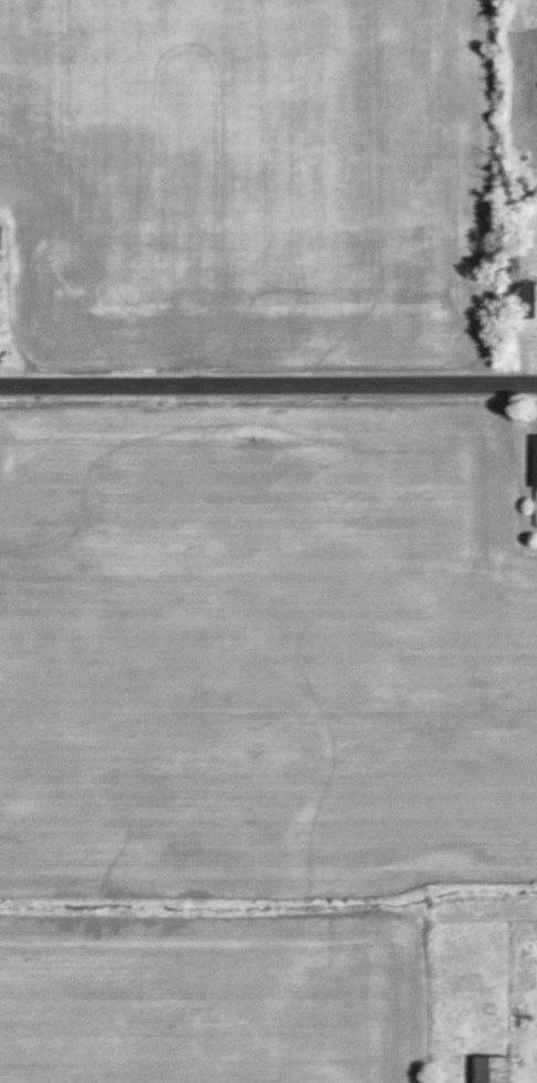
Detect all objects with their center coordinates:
building: (522, 298)
road: (268, 389)
building: (533, 461)
building: (489, 1069)

